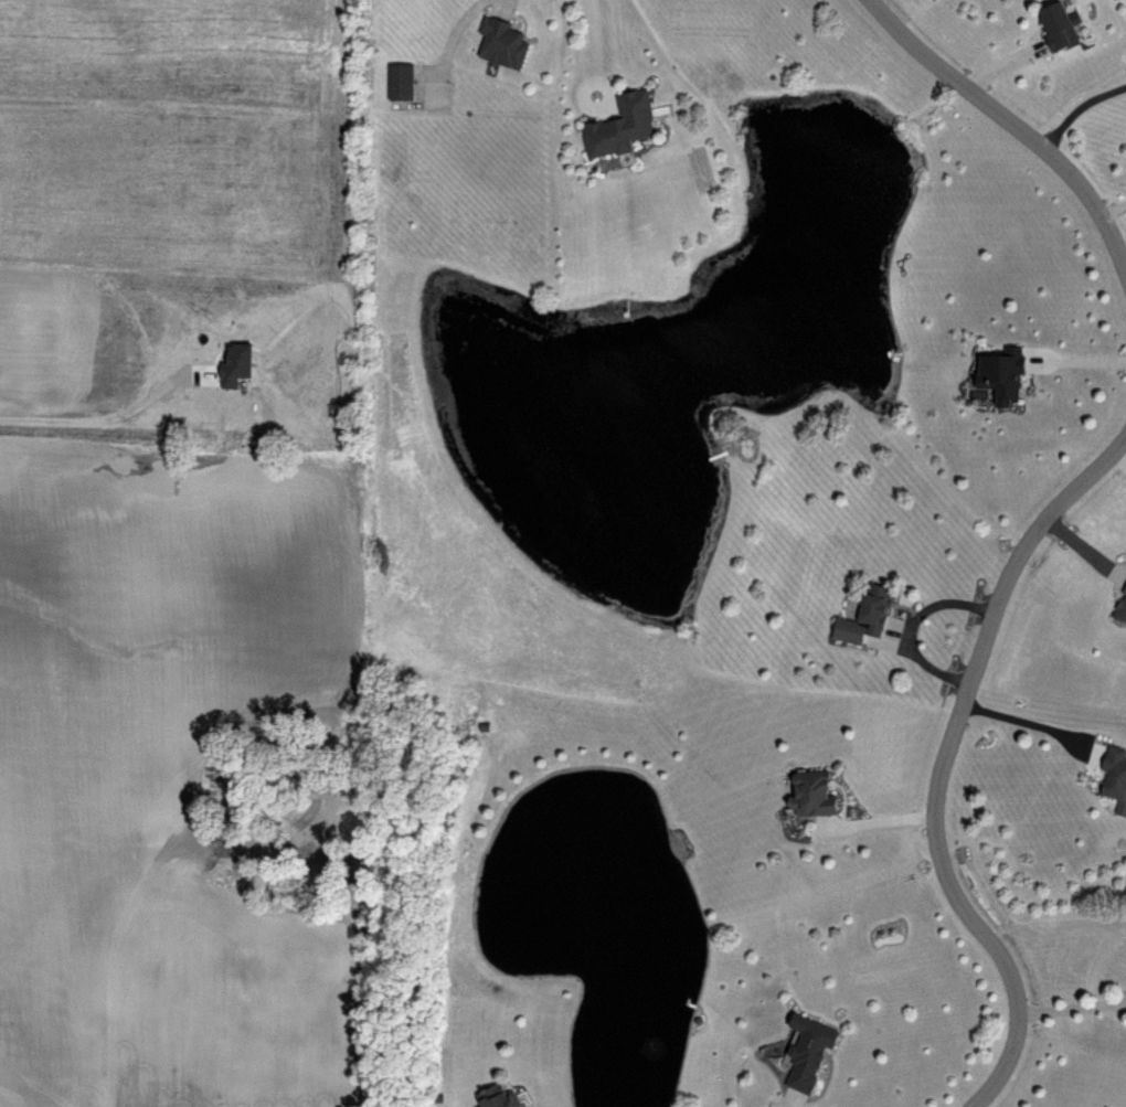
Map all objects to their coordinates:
building: (1058, 26)
road: (453, 34)
building: (502, 44)
road: (596, 44)
building: (399, 82)
road: (1009, 119)
building: (618, 126)
road: (1079, 359)
building: (1006, 374)
road: (107, 418)
building: (1119, 608)
building: (864, 616)
road: (1021, 719)
road: (943, 764)
building: (1115, 777)
building: (809, 796)
road: (877, 820)
road: (1070, 1007)
building: (807, 1052)
building: (495, 1098)

